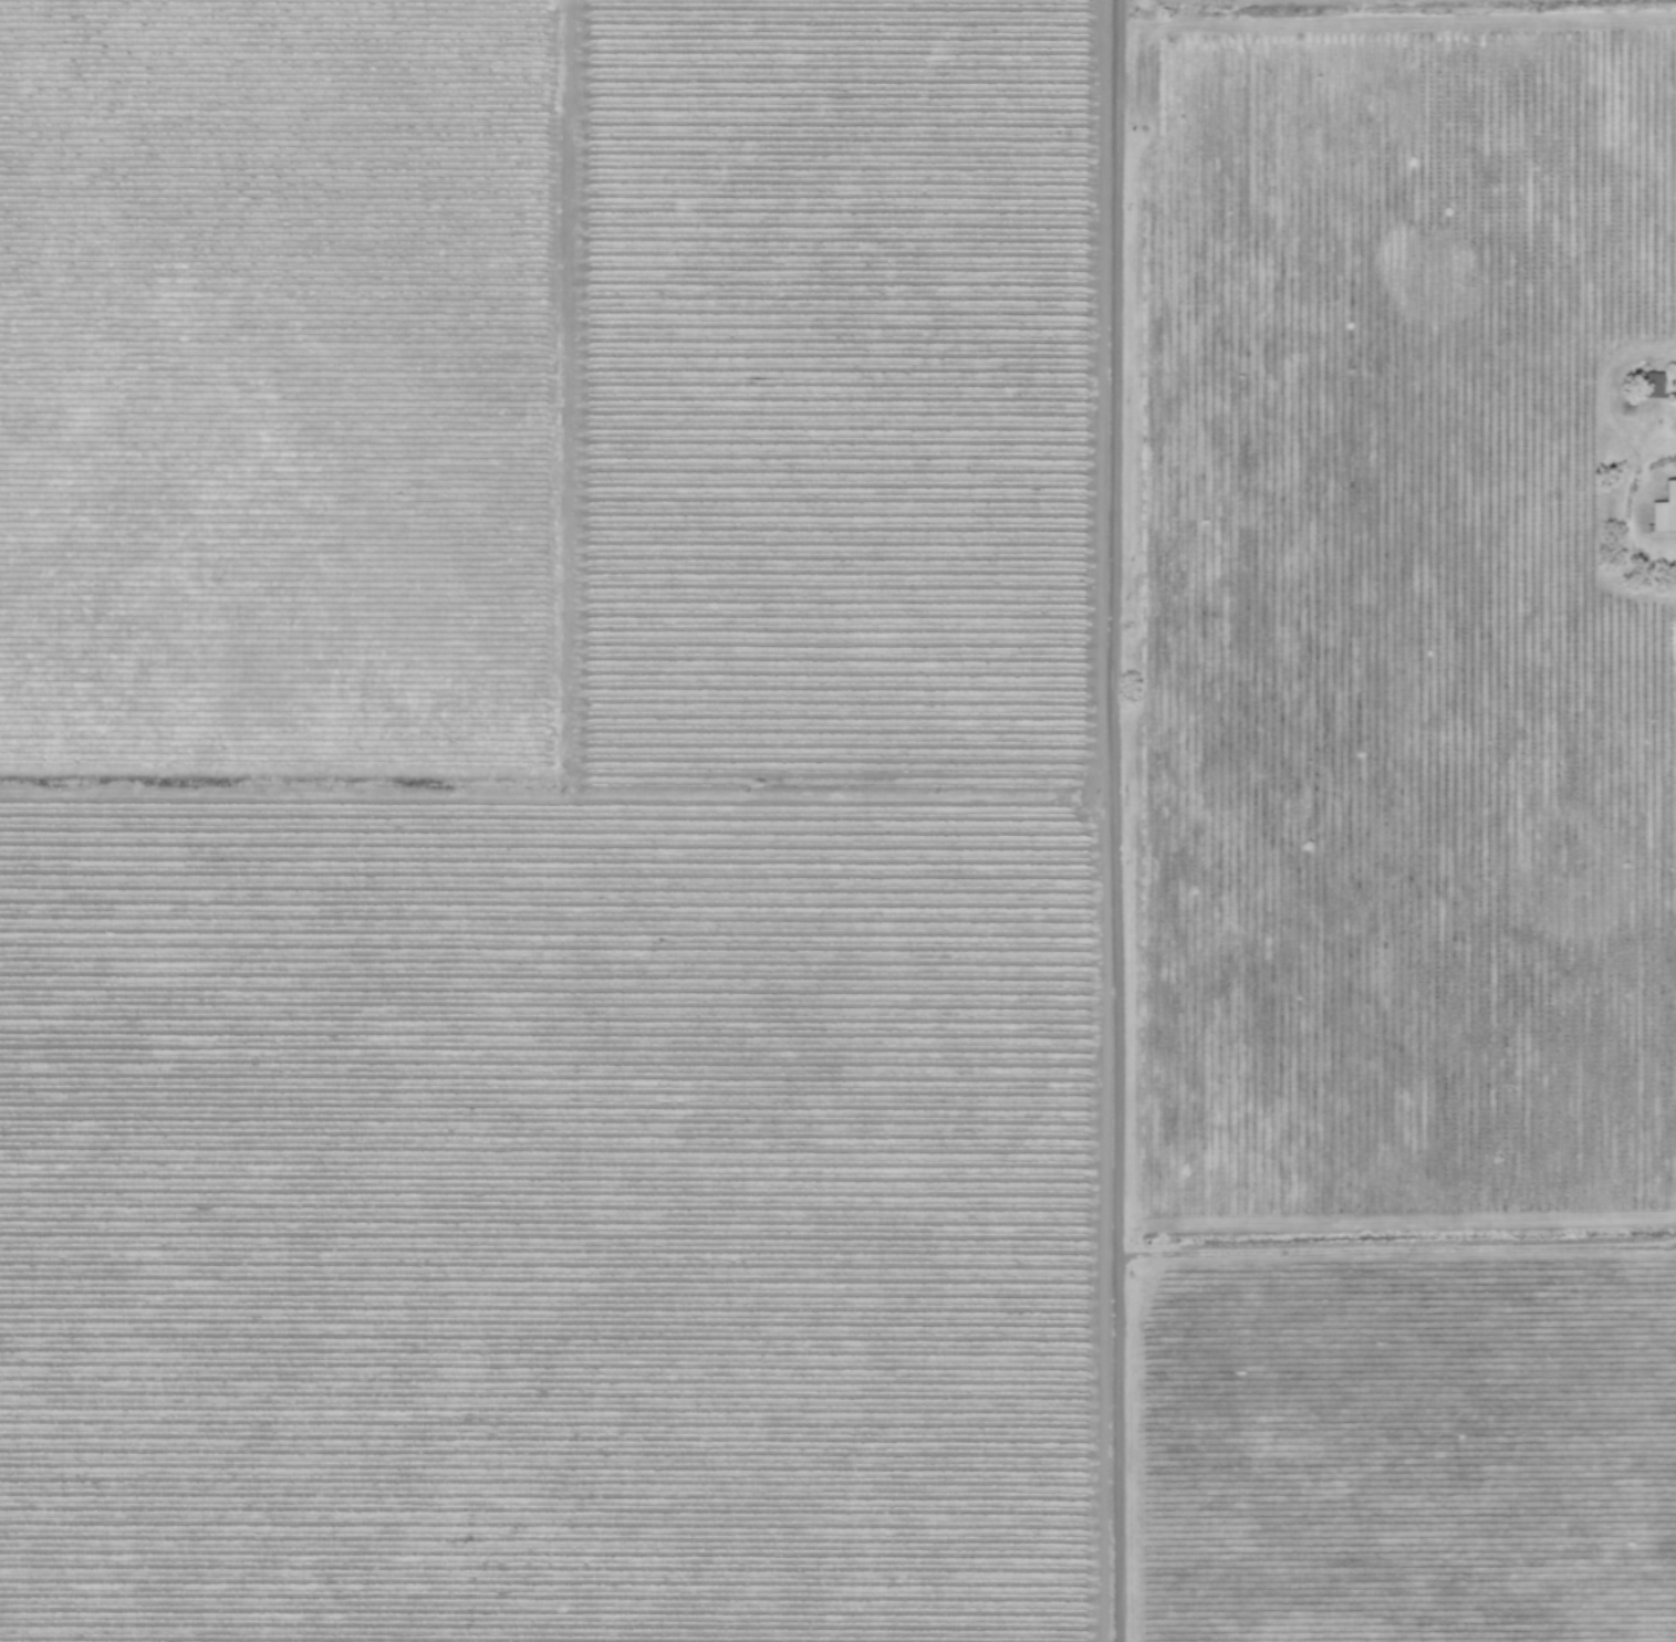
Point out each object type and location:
road: (1396, 32)
road: (1606, 477)
building: (1665, 512)
road: (1115, 820)
road: (1397, 1230)

